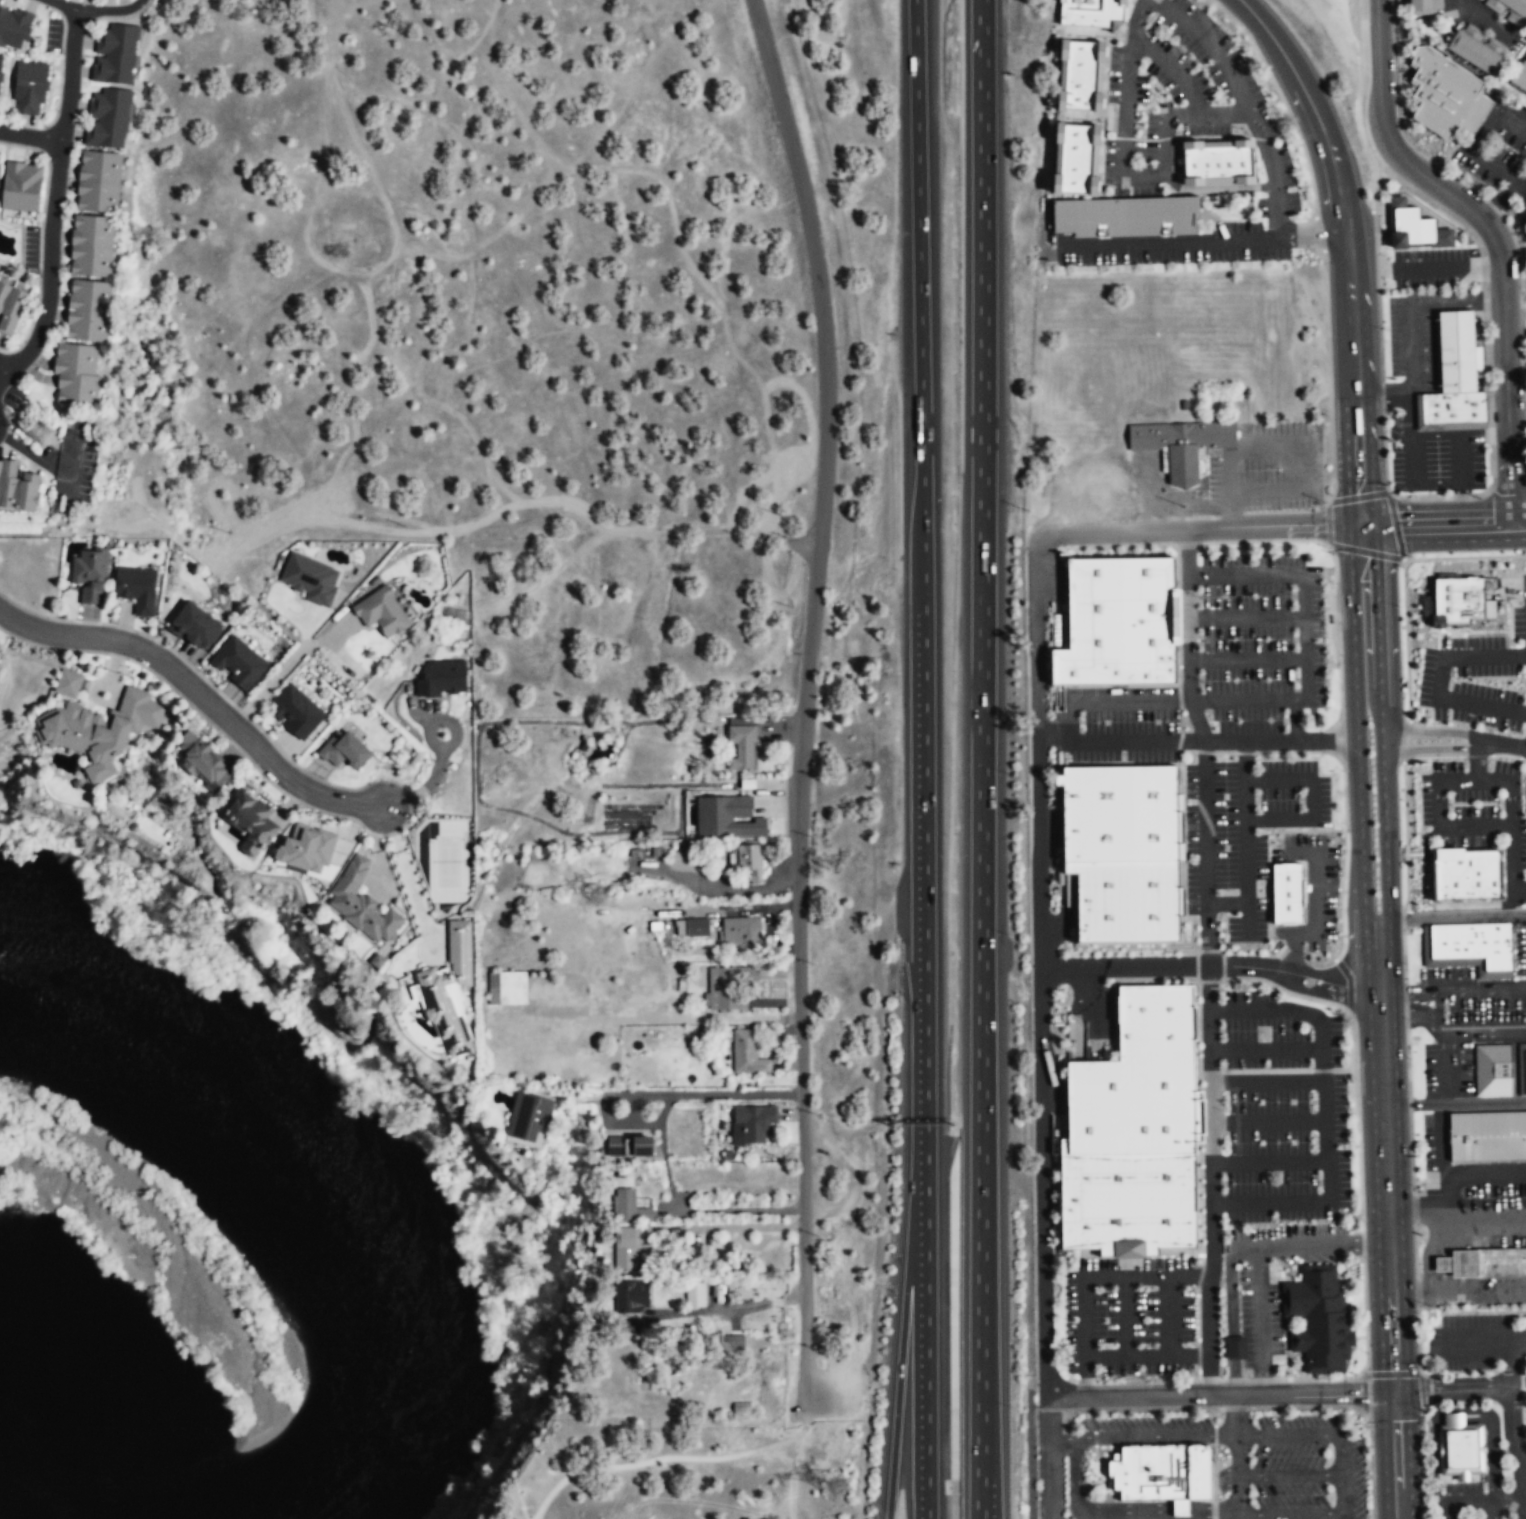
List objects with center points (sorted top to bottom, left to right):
street lamp: (1193, 0)
building: (1415, 6)
road: (95, 8)
building: (1509, 10)
building: (1092, 12)
road: (1480, 17)
road: (1135, 18)
street lamp: (1228, 18)
road: (1186, 27)
street lamp: (1222, 27)
building: (14, 29)
building: (1471, 51)
building: (115, 54)
building: (0, 59)
street lamp: (1194, 60)
road: (1174, 70)
building: (1080, 74)
building: (1520, 77)
road: (1234, 84)
street lamp: (1259, 84)
building: (28, 89)
street lamp: (1162, 89)
street lamp: (1150, 92)
building: (1442, 93)
road: (1282, 99)
road: (1226, 114)
building: (108, 119)
road: (1509, 126)
street lamp: (1295, 132)
road: (31, 135)
road: (1212, 136)
road: (1288, 137)
road: (1262, 138)
road: (1143, 139)
street lamp: (1292, 157)
building: (1075, 158)
road: (1101, 161)
building: (1217, 162)
road: (1498, 171)
road: (1123, 172)
road: (1274, 174)
building: (99, 183)
building: (21, 188)
road: (1216, 188)
road: (1374, 189)
street lamp: (1301, 191)
road: (54, 199)
road: (1504, 199)
building: (1125, 216)
street lamp: (1239, 217)
building: (1414, 227)
road: (1318, 233)
road: (1496, 237)
road: (1202, 240)
building: (92, 246)
road: (1346, 249)
street lamp: (1322, 263)
road: (1448, 269)
building: (11, 307)
building: (89, 311)
road: (1406, 328)
building: (1452, 351)
road: (1380, 354)
road: (1515, 359)
road: (1, 370)
road: (1328, 372)
building: (76, 375)
building: (1451, 407)
power tower: (37, 427)
road: (1457, 435)
road: (1517, 439)
building: (1181, 444)
road: (1248, 447)
road: (1412, 479)
building: (17, 488)
road: (1263, 491)
road: (1358, 496)
road: (1328, 524)
road: (1500, 524)
road: (1395, 525)
road: (1417, 526)
traffic signals: (1360, 527)
road: (1201, 528)
road: (1115, 544)
street lamp: (1268, 544)
street lamp: (1166, 547)
road: (1186, 547)
street lamp: (1071, 550)
road: (1364, 551)
street lamp: (1477, 552)
road: (1465, 557)
road: (1404, 560)
road: (1477, 571)
road: (1287, 574)
road: (1333, 574)
building: (90, 576)
building: (310, 578)
road: (1209, 580)
building: (136, 589)
road: (1057, 594)
street lamp: (1292, 595)
street lamp: (1199, 597)
building: (1454, 601)
street lamp: (1518, 603)
street lamp: (1399, 606)
building: (381, 611)
road: (922, 613)
road: (1177, 615)
road: (1247, 616)
road: (1509, 617)
building: (1120, 622)
building: (195, 627)
road: (1210, 628)
street lamp: (1471, 629)
road: (1460, 634)
road: (1406, 640)
parking lot: (1261, 641)
road: (1523, 645)
building: (240, 664)
street lamp: (1337, 665)
street lamp: (1452, 671)
street lamp: (1295, 678)
road: (1306, 678)
building: (441, 680)
street lamp: (1199, 680)
parking lot: (1478, 680)
road: (1440, 681)
building: (68, 684)
road: (1156, 685)
road: (199, 693)
road: (805, 693)
road: (1179, 700)
building: (296, 711)
road: (1194, 711)
street lamp: (1404, 711)
road: (1294, 719)
road: (1181, 720)
street lamp: (1166, 721)
street lamp: (1097, 722)
parking lot: (1117, 724)
road: (1071, 728)
road: (1381, 728)
building: (98, 730)
road: (1356, 730)
road: (1429, 730)
street lamp: (1488, 730)
road: (1325, 740)
road: (1405, 740)
road: (1178, 741)
road: (1500, 744)
building: (742, 748)
building: (343, 750)
road: (1431, 750)
road: (1186, 751)
road: (1204, 751)
road: (1224, 752)
road: (1244, 752)
road: (982, 759)
building: (200, 761)
road: (1130, 764)
street lamp: (1341, 770)
parking lot: (1525, 793)
street lamp: (1300, 799)
road: (1312, 800)
road: (1508, 804)
street lamp: (1225, 806)
parking lot: (1475, 806)
building: (1122, 813)
road: (1345, 815)
building: (249, 818)
building: (727, 818)
road: (1438, 818)
street lamp: (1400, 820)
parking lot: (1242, 832)
road: (1405, 836)
road: (1244, 843)
building: (307, 850)
road: (1205, 853)
park: (447, 860)
building: (746, 860)
street lamp: (1340, 875)
building: (1466, 875)
street lamp: (1226, 889)
power tower: (598, 892)
building: (1290, 894)
building: (1130, 902)
building: (361, 904)
road: (1068, 913)
road: (1402, 917)
road: (1248, 918)
road: (1450, 918)
building: (693, 929)
road: (1194, 935)
building: (741, 936)
building: (1474, 942)
street lamp: (1340, 943)
road: (1195, 951)
street lamp: (1303, 953)
road: (1404, 954)
building: (376, 961)
street lamp: (1406, 964)
road: (1211, 965)
road: (1039, 966)
road: (1196, 966)
road: (1176, 979)
road: (1208, 981)
street lamp: (1227, 983)
road: (1349, 983)
building: (726, 987)
building: (507, 989)
building: (450, 990)
road: (1283, 990)
road: (1452, 990)
street lamp: (1283, 998)
road: (1405, 1005)
road: (1295, 1011)
road: (1078, 1012)
building: (1158, 1020)
street lamp: (1311, 1028)
street lamp: (1349, 1028)
street lamp: (1221, 1030)
road: (1449, 1033)
road: (1266, 1050)
building: (746, 1054)
street lamp: (1409, 1058)
road: (1407, 1063)
road: (1446, 1063)
street lamp: (1310, 1064)
street lamp: (1266, 1065)
building: (1521, 1065)
road: (1341, 1069)
road: (1266, 1070)
road: (1321, 1070)
road: (1210, 1071)
building: (1493, 1071)
road: (736, 1093)
road: (1059, 1096)
road: (1446, 1097)
street lamp: (1276, 1101)
road: (1323, 1101)
road: (1455, 1102)
road: (604, 1103)
building: (1133, 1104)
road: (1409, 1104)
road: (1236, 1105)
parking lot: (1283, 1110)
street lamp: (1312, 1110)
street lamp: (1226, 1111)
building: (528, 1113)
road: (1199, 1114)
building: (751, 1124)
road: (1357, 1127)
building: (1487, 1136)
street lamp: (1277, 1142)
road: (1326, 1142)
building: (630, 1144)
street lamp: (1343, 1146)
road: (1411, 1152)
road: (1212, 1180)
street lamp: (1318, 1181)
street lamp: (1232, 1182)
road: (1329, 1182)
street lamp: (1414, 1186)
road: (1199, 1195)
building: (1129, 1197)
river: (317, 1203)
building: (628, 1208)
road: (681, 1208)
road: (1413, 1208)
road: (1388, 1225)
building: (627, 1247)
road: (1415, 1250)
road: (1121, 1251)
road: (1256, 1254)
road: (1202, 1255)
road: (1128, 1259)
building: (1501, 1262)
building: (1459, 1263)
road: (1200, 1275)
road: (1025, 1282)
street lamp: (1146, 1287)
street lamp: (1192, 1287)
street lamp: (1105, 1288)
road: (1416, 1291)
building: (694, 1294)
building: (631, 1296)
flagpole: (1432, 1306)
road: (728, 1308)
street lamp: (1418, 1313)
road: (1197, 1314)
road: (1083, 1316)
road: (1125, 1316)
road: (1167, 1316)
parking lot: (1129, 1317)
street lamp: (1063, 1318)
building: (1319, 1319)
road: (1485, 1339)
road: (1418, 1342)
building: (732, 1343)
street lamp: (1193, 1344)
parking lot: (1480, 1344)
street lamp: (1106, 1345)
street lamp: (1146, 1345)
building: (1235, 1348)
road: (1366, 1353)
road: (1198, 1354)
road: (899, 1371)
road: (925, 1372)
road: (1389, 1374)
road: (1198, 1375)
road: (1085, 1376)
street lamp: (1153, 1378)
road: (1261, 1378)
road: (1245, 1379)
road: (1208, 1380)
road: (1222, 1380)
road: (1233, 1380)
road: (1184, 1381)
parking lot: (822, 1386)
road: (1421, 1390)
road: (1452, 1390)
road: (1219, 1394)
road: (1363, 1394)
street lamp: (1346, 1409)
street lamp: (1219, 1410)
street lamp: (1087, 1412)
street lamp: (1422, 1417)
road: (1456, 1419)
road: (1512, 1425)
parking lot: (1147, 1429)
road: (1325, 1435)
road: (1161, 1436)
road: (1067, 1438)
road: (1029, 1447)
building: (1462, 1448)
road: (1235, 1456)
road: (1046, 1457)
road: (677, 1458)
road: (1522, 1461)
road: (1422, 1463)
parking lot: (1303, 1468)
building: (1161, 1471)
park: (688, 1472)
road: (792, 1475)
road: (1289, 1475)
power tower: (834, 1485)
parking lot: (1466, 1500)
road: (1484, 1501)
road: (1523, 1501)
street lamp: (1426, 1505)
road: (522, 1507)
road: (1119, 1508)
road: (1491, 1510)
road: (1449, 1511)
road: (1292, 1515)

